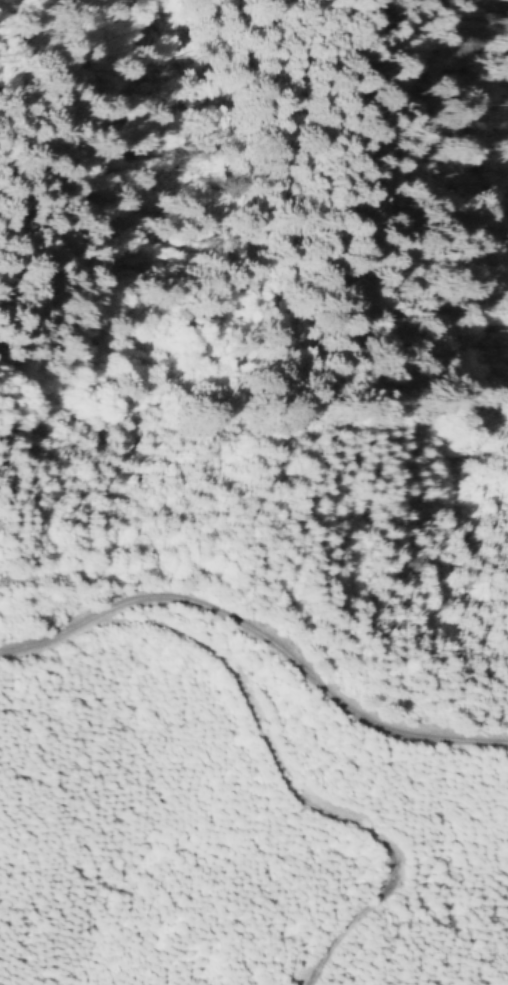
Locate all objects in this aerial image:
road: (258, 645)
road: (280, 786)

